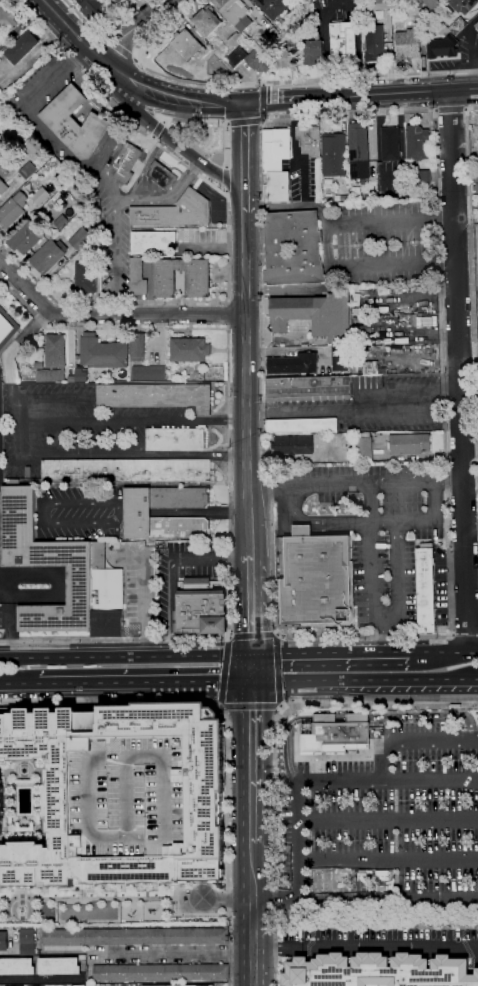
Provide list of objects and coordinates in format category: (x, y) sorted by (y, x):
building: (252, 0)
building: (119, 1)
building: (311, 1)
building: (469, 2)
building: (380, 4)
building: (432, 4)
building: (91, 7)
building: (272, 7)
building: (235, 13)
building: (454, 14)
building: (442, 17)
building: (7, 21)
building: (206, 21)
building: (457, 25)
building: (476, 26)
road: (71, 29)
road: (130, 29)
building: (270, 30)
road: (102, 35)
building: (295, 36)
building: (233, 39)
building: (344, 42)
building: (374, 43)
building: (187, 44)
building: (408, 44)
building: (23, 47)
building: (442, 47)
road: (118, 48)
building: (313, 49)
building: (285, 58)
building: (249, 59)
building: (220, 62)
building: (226, 71)
road: (261, 82)
road: (394, 93)
road: (166, 97)
building: (11, 99)
road: (277, 101)
traffic signals: (243, 103)
road: (450, 109)
road: (261, 119)
building: (75, 123)
road: (156, 129)
road: (164, 135)
building: (309, 140)
building: (417, 142)
building: (359, 143)
building: (390, 143)
building: (332, 147)
road: (243, 150)
road: (225, 153)
building: (2, 157)
building: (126, 162)
building: (276, 163)
building: (27, 170)
building: (162, 175)
building: (423, 176)
road: (225, 178)
building: (476, 185)
building: (3, 187)
road: (225, 193)
building: (40, 195)
building: (344, 198)
road: (244, 205)
road: (290, 208)
building: (12, 210)
building: (175, 212)
building: (57, 220)
road: (227, 231)
building: (26, 237)
building: (80, 239)
building: (152, 241)
road: (327, 245)
building: (293, 248)
building: (48, 255)
building: (137, 277)
building: (85, 278)
road: (329, 278)
building: (198, 283)
road: (472, 284)
road: (284, 288)
building: (356, 290)
building: (477, 297)
road: (244, 303)
building: (373, 307)
building: (358, 309)
road: (226, 313)
building: (314, 314)
road: (111, 316)
road: (246, 325)
building: (7, 327)
building: (361, 336)
building: (137, 347)
building: (189, 350)
building: (102, 352)
building: (52, 358)
building: (340, 358)
building: (293, 364)
building: (381, 364)
building: (365, 367)
building: (382, 369)
road: (457, 370)
building: (148, 373)
building: (71, 375)
building: (81, 375)
building: (368, 382)
road: (246, 383)
building: (308, 388)
building: (156, 396)
road: (54, 399)
road: (355, 409)
parking lot: (75, 419)
road: (134, 420)
building: (302, 425)
building: (346, 438)
building: (175, 439)
building: (409, 444)
building: (294, 445)
building: (363, 446)
road: (119, 454)
building: (126, 470)
road: (230, 470)
building: (12, 482)
building: (166, 483)
road: (354, 483)
building: (354, 496)
road: (44, 511)
road: (184, 512)
building: (137, 513)
road: (285, 520)
road: (318, 521)
road: (420, 521)
road: (319, 525)
road: (301, 529)
road: (371, 553)
road: (210, 555)
building: (45, 565)
road: (396, 573)
building: (315, 579)
building: (104, 581)
road: (58, 585)
building: (425, 591)
road: (170, 604)
road: (250, 604)
road: (143, 608)
building: (201, 608)
road: (7, 624)
building: (107, 624)
road: (449, 630)
road: (384, 632)
road: (275, 633)
road: (252, 635)
road: (464, 635)
road: (230, 636)
road: (278, 637)
road: (227, 640)
road: (444, 651)
road: (331, 652)
traffic signals: (251, 653)
road: (125, 654)
road: (251, 668)
road: (224, 670)
road: (278, 673)
road: (364, 682)
traffic signals: (251, 683)
road: (145, 685)
road: (19, 687)
road: (218, 702)
road: (222, 706)
road: (253, 707)
road: (282, 708)
road: (356, 717)
building: (336, 734)
road: (228, 735)
road: (411, 740)
road: (275, 748)
road: (252, 762)
road: (330, 781)
building: (131, 796)
parking lot: (131, 796)
building: (205, 799)
road: (389, 819)
parking lot: (383, 825)
road: (389, 859)
road: (364, 898)
road: (252, 914)
building: (27, 936)
building: (135, 936)
building: (3, 941)
road: (365, 947)
road: (174, 951)
building: (16, 966)
building: (58, 966)
building: (378, 971)
building: (160, 972)
road: (39, 978)
building: (15, 985)
building: (36, 985)
building: (78, 985)

